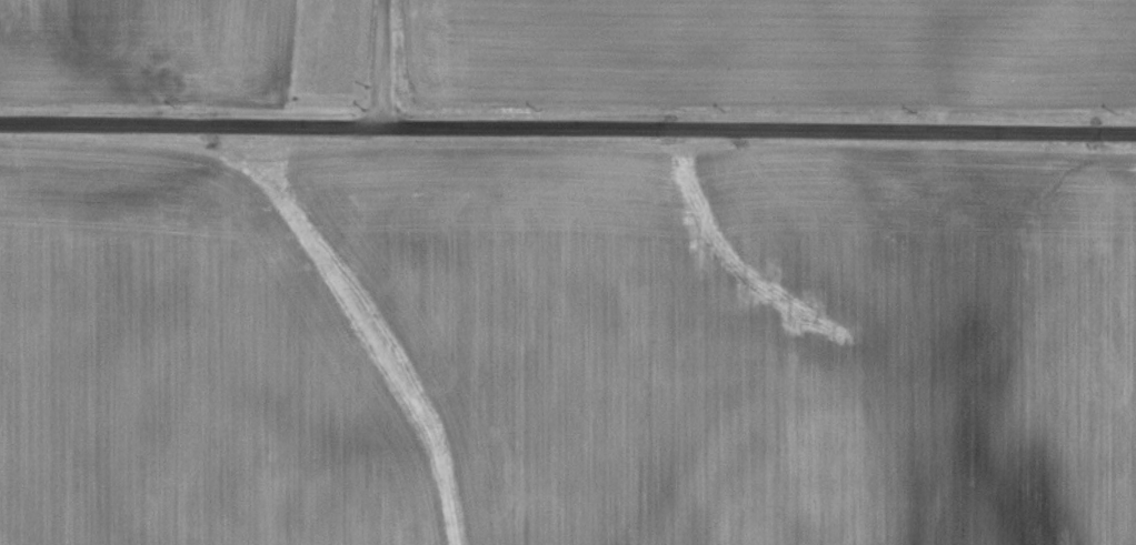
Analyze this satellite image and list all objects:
road: (382, 62)
crop: (580, 75)
road: (568, 127)
crop: (562, 347)

